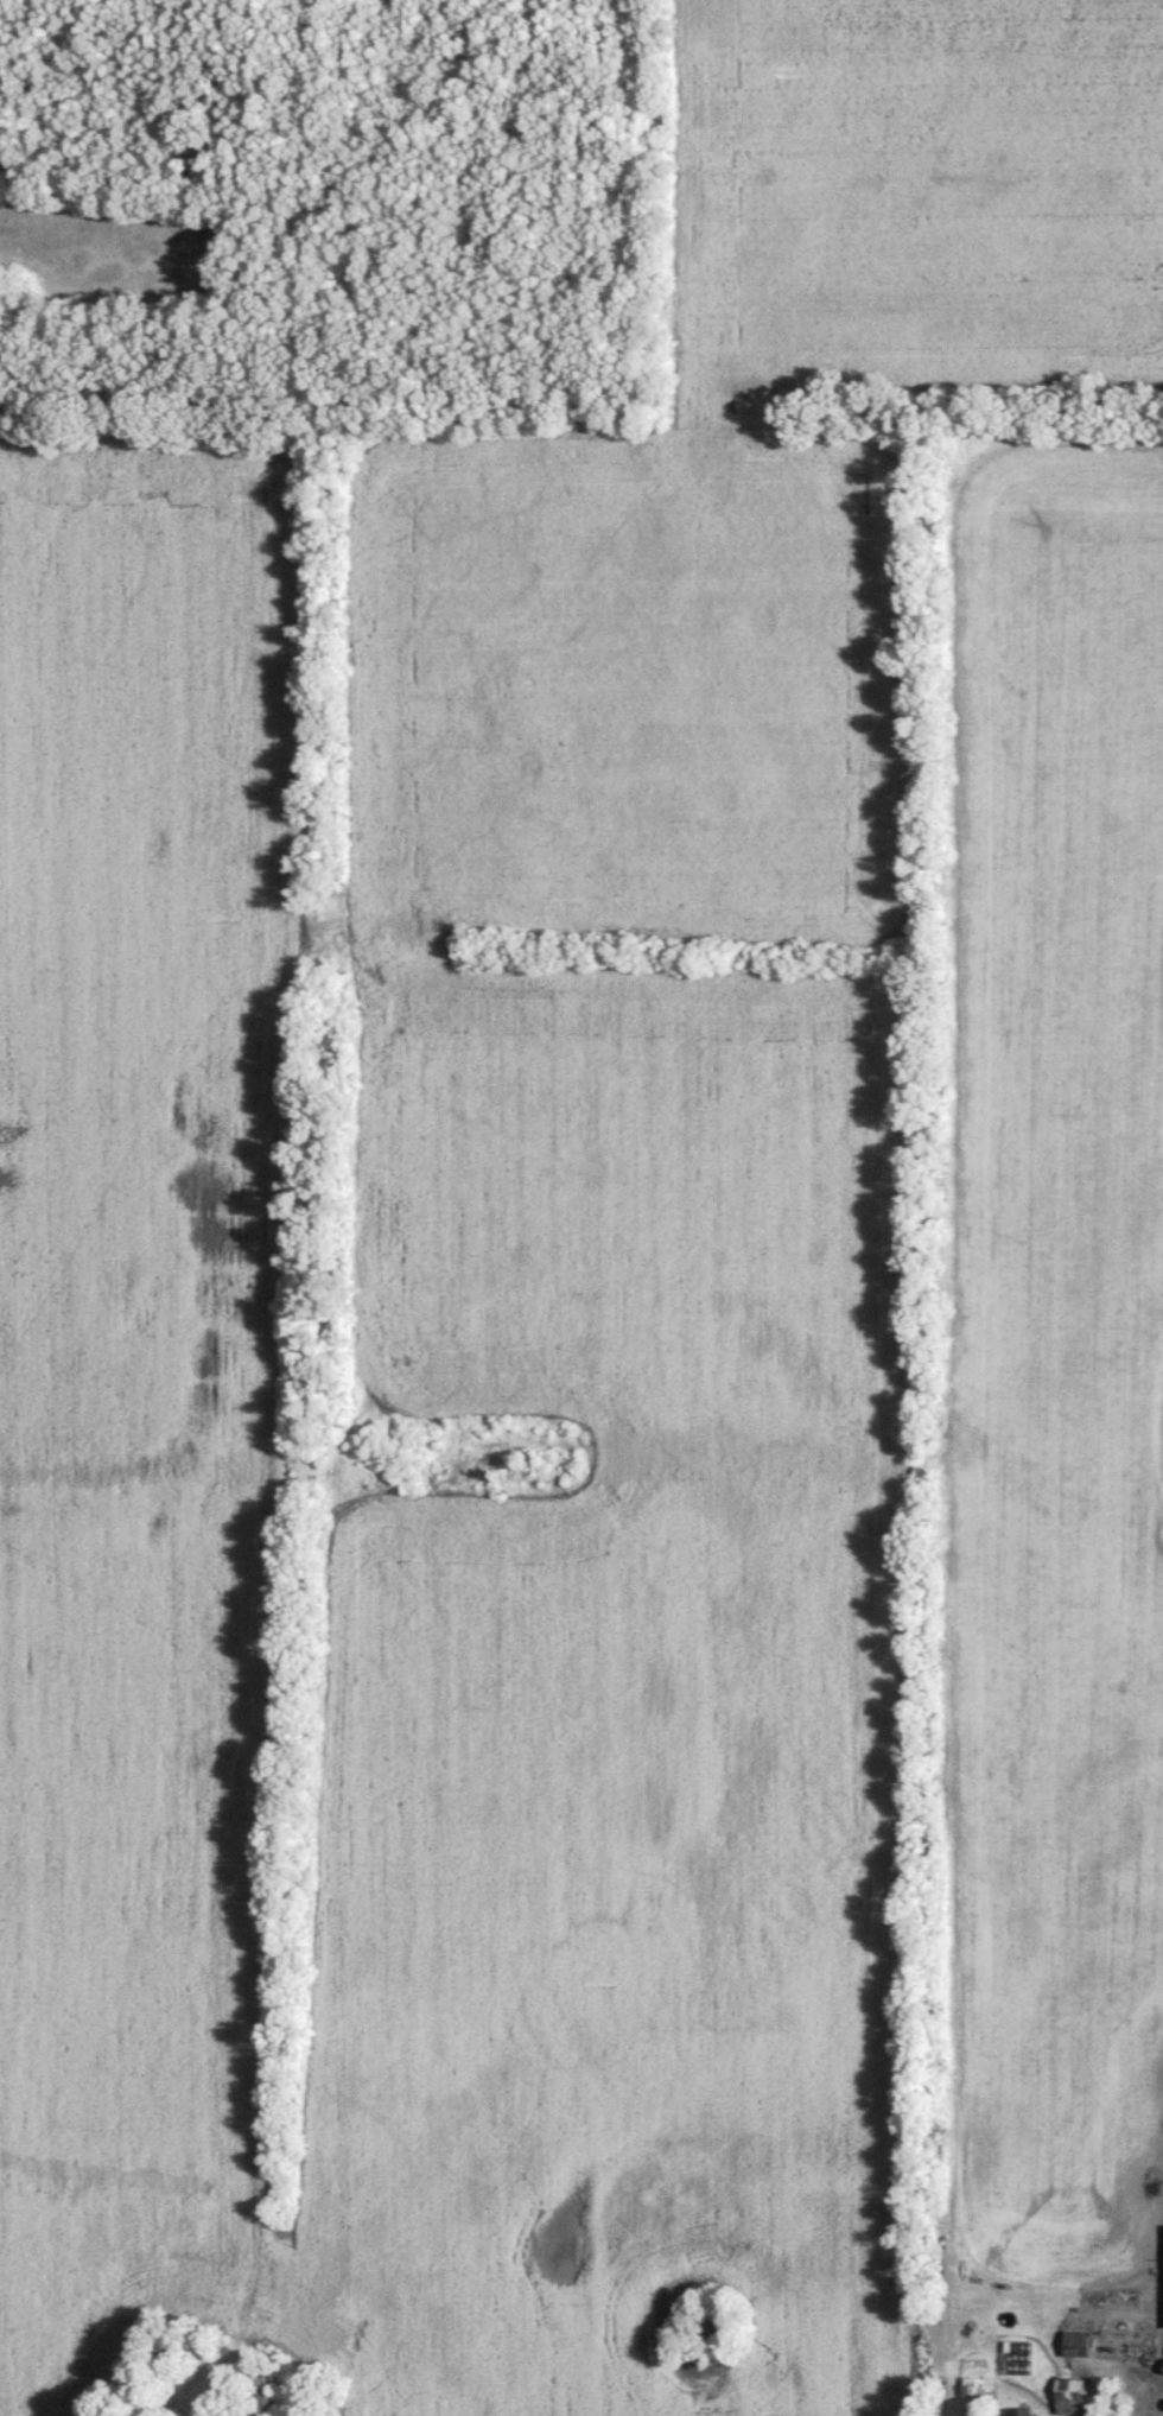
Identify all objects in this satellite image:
building: (1076, 2341)
building: (1017, 2350)
building: (1070, 2393)
building: (1018, 2410)

